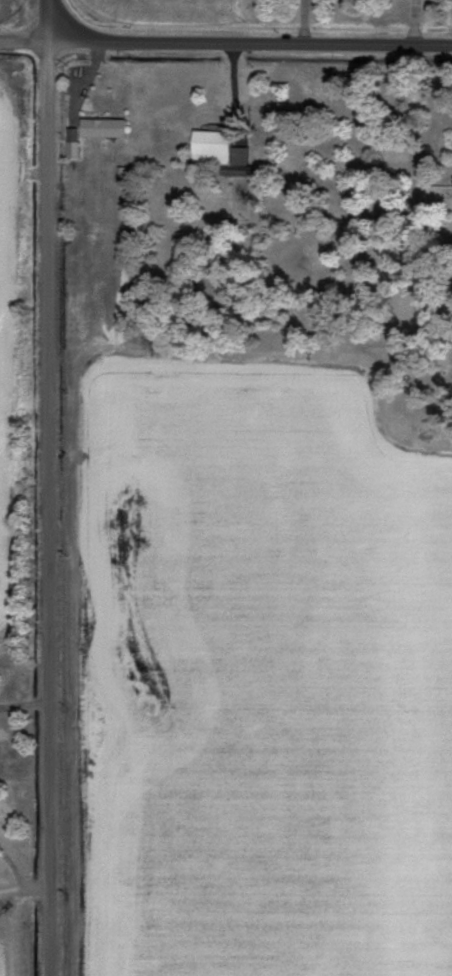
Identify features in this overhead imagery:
road: (33, 36)
road: (242, 40)
building: (105, 129)
building: (75, 150)
building: (223, 153)
road: (49, 502)
road: (25, 712)

